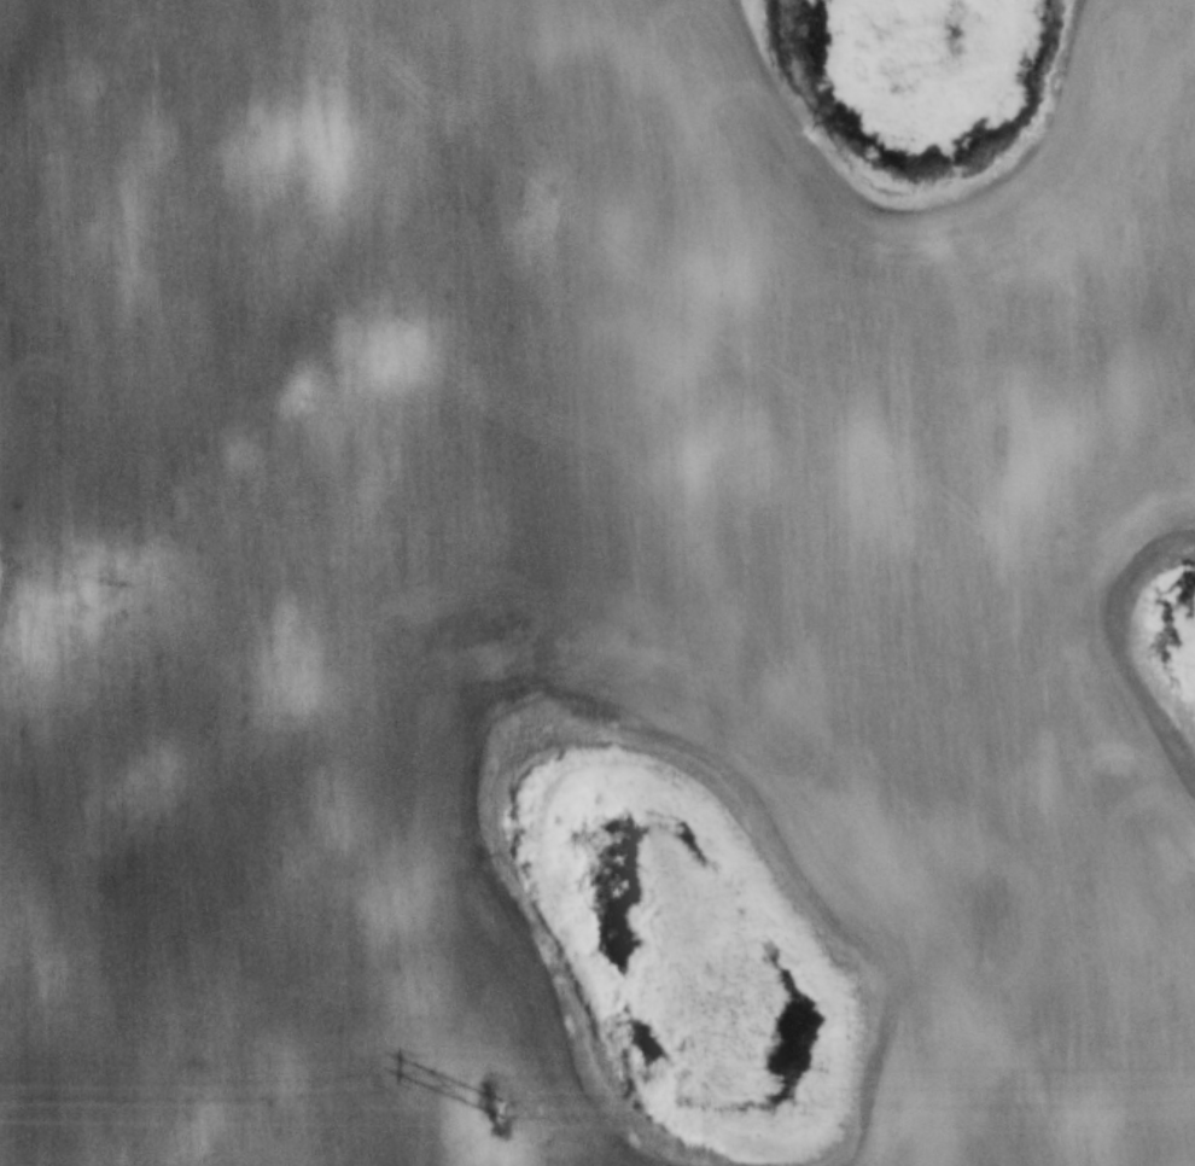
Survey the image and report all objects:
power tower: (495, 1107)

